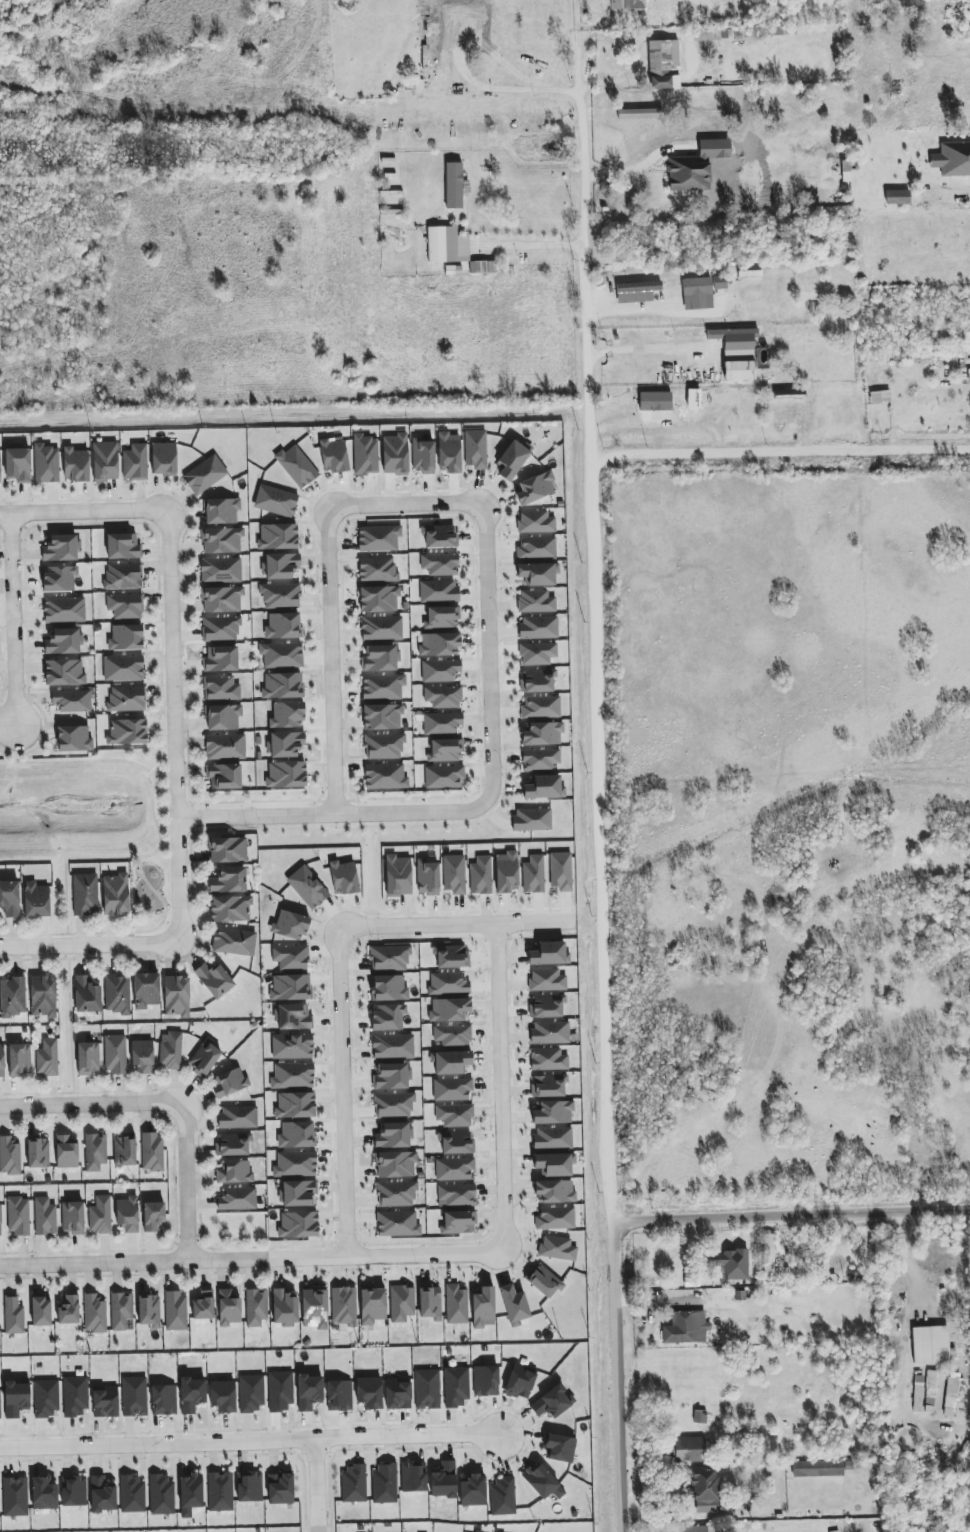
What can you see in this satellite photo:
building: (628, 4)
road: (582, 30)
building: (455, 60)
building: (663, 64)
building: (952, 159)
road: (646, 161)
building: (688, 174)
building: (453, 185)
building: (897, 197)
road: (532, 244)
building: (447, 245)
building: (482, 267)
building: (697, 286)
building: (637, 291)
road: (647, 305)
building: (736, 343)
road: (644, 354)
building: (739, 371)
building: (969, 376)
building: (880, 397)
building: (655, 401)
building: (476, 449)
building: (449, 452)
road: (780, 453)
building: (395, 454)
building: (365, 455)
building: (333, 456)
building: (423, 456)
building: (163, 459)
building: (512, 460)
building: (105, 461)
building: (135, 462)
building: (46, 464)
building: (75, 464)
building: (17, 465)
building: (296, 466)
building: (205, 475)
building: (0, 481)
building: (535, 488)
building: (276, 501)
road: (409, 502)
building: (221, 511)
building: (536, 522)
building: (278, 536)
building: (440, 537)
building: (379, 538)
building: (221, 540)
building: (123, 546)
building: (537, 547)
building: (61, 548)
building: (440, 564)
building: (280, 565)
building: (377, 569)
building: (221, 570)
building: (538, 573)
building: (123, 576)
building: (59, 578)
building: (439, 591)
building: (280, 595)
building: (221, 599)
building: (378, 599)
building: (536, 601)
building: (125, 606)
building: (64, 610)
building: (442, 617)
road: (13, 619)
building: (283, 626)
building: (538, 627)
building: (221, 628)
building: (381, 628)
building: (126, 638)
building: (64, 641)
building: (439, 644)
road: (174, 645)
building: (537, 653)
building: (282, 655)
building: (380, 658)
building: (220, 659)
road: (489, 660)
road: (331, 666)
building: (123, 668)
building: (440, 670)
building: (64, 672)
building: (537, 680)
building: (282, 685)
building: (383, 686)
building: (221, 688)
building: (443, 696)
building: (126, 699)
building: (72, 700)
building: (541, 707)
building: (287, 715)
building: (223, 717)
building: (382, 717)
building: (442, 723)
road: (161, 725)
building: (127, 732)
building: (541, 733)
building: (74, 739)
building: (286, 744)
road: (13, 746)
building: (225, 746)
building: (384, 746)
building: (445, 750)
road: (162, 753)
building: (540, 759)
building: (286, 775)
building: (224, 776)
building: (444, 776)
building: (385, 777)
building: (544, 787)
road: (607, 795)
road: (336, 815)
building: (532, 820)
building: (227, 850)
road: (101, 856)
building: (561, 871)
building: (506, 872)
building: (454, 874)
building: (533, 874)
building: (480, 875)
building: (398, 876)
building: (344, 878)
building: (427, 878)
building: (228, 880)
building: (307, 887)
building: (85, 894)
building: (115, 894)
park: (147, 896)
building: (9, 898)
building: (36, 900)
building: (230, 909)
road: (456, 922)
building: (290, 925)
road: (153, 928)
building: (234, 941)
road: (89, 947)
building: (549, 954)
building: (451, 956)
building: (291, 957)
building: (390, 957)
building: (214, 980)
building: (546, 980)
building: (449, 983)
building: (291, 987)
building: (389, 988)
building: (146, 990)
building: (117, 994)
building: (87, 995)
building: (43, 996)
building: (177, 996)
building: (13, 997)
building: (546, 1006)
building: (449, 1010)
building: (293, 1017)
building: (388, 1017)
building: (550, 1032)
building: (452, 1035)
building: (292, 1046)
building: (392, 1046)
building: (170, 1051)
building: (115, 1054)
building: (143, 1056)
building: (47, 1058)
building: (88, 1058)
building: (204, 1059)
building: (548, 1059)
building: (19, 1060)
building: (2, 1061)
building: (451, 1062)
building: (293, 1076)
building: (391, 1077)
building: (229, 1082)
building: (549, 1086)
building: (452, 1089)
road: (343, 1094)
road: (89, 1103)
building: (295, 1105)
building: (393, 1105)
building: (552, 1112)
building: (454, 1115)
building: (238, 1117)
building: (297, 1134)
building: (393, 1136)
building: (552, 1138)
building: (456, 1142)
building: (233, 1144)
building: (124, 1150)
building: (67, 1151)
building: (95, 1151)
building: (152, 1152)
building: (38, 1153)
building: (9, 1157)
building: (295, 1164)
building: (395, 1164)
building: (554, 1164)
building: (454, 1168)
building: (234, 1172)
road: (188, 1183)
building: (554, 1191)
building: (298, 1193)
building: (396, 1194)
building: (457, 1194)
building: (237, 1199)
building: (128, 1214)
road: (795, 1214)
building: (100, 1215)
building: (153, 1215)
building: (18, 1216)
building: (45, 1217)
building: (72, 1217)
building: (555, 1218)
building: (0, 1221)
building: (458, 1223)
building: (299, 1224)
building: (397, 1224)
building: (557, 1248)
building: (768, 1257)
road: (415, 1258)
building: (731, 1264)
road: (909, 1265)
building: (543, 1281)
building: (401, 1303)
building: (430, 1303)
building: (456, 1304)
building: (372, 1305)
building: (514, 1305)
building: (203, 1306)
building: (344, 1306)
building: (256, 1307)
building: (228, 1308)
building: (285, 1308)
building: (315, 1308)
building: (483, 1308)
building: (69, 1310)
building: (121, 1310)
building: (149, 1310)
building: (176, 1311)
building: (41, 1312)
building: (94, 1314)
building: (13, 1316)
building: (686, 1328)
building: (930, 1344)
building: (485, 1381)
building: (520, 1381)
building: (456, 1387)
building: (427, 1389)
building: (280, 1391)
building: (930, 1391)
building: (252, 1392)
building: (309, 1392)
building: (369, 1393)
building: (953, 1393)
building: (192, 1394)
building: (398, 1394)
building: (918, 1394)
building: (339, 1395)
building: (75, 1396)
building: (134, 1396)
building: (223, 1396)
building: (16, 1398)
building: (45, 1399)
building: (163, 1400)
building: (105, 1401)
building: (552, 1402)
building: (0, 1406)
road: (250, 1446)
building: (560, 1448)
building: (689, 1449)
building: (820, 1468)
building: (413, 1476)
building: (444, 1481)
building: (542, 1481)
building: (385, 1483)
building: (353, 1484)
building: (249, 1486)
building: (280, 1488)
road: (315, 1488)
building: (704, 1490)
building: (73, 1491)
building: (473, 1491)
building: (220, 1492)
building: (44, 1493)
building: (132, 1494)
building: (161, 1494)
building: (190, 1494)
building: (102, 1495)
building: (503, 1496)
building: (15, 1497)
building: (699, 1528)

